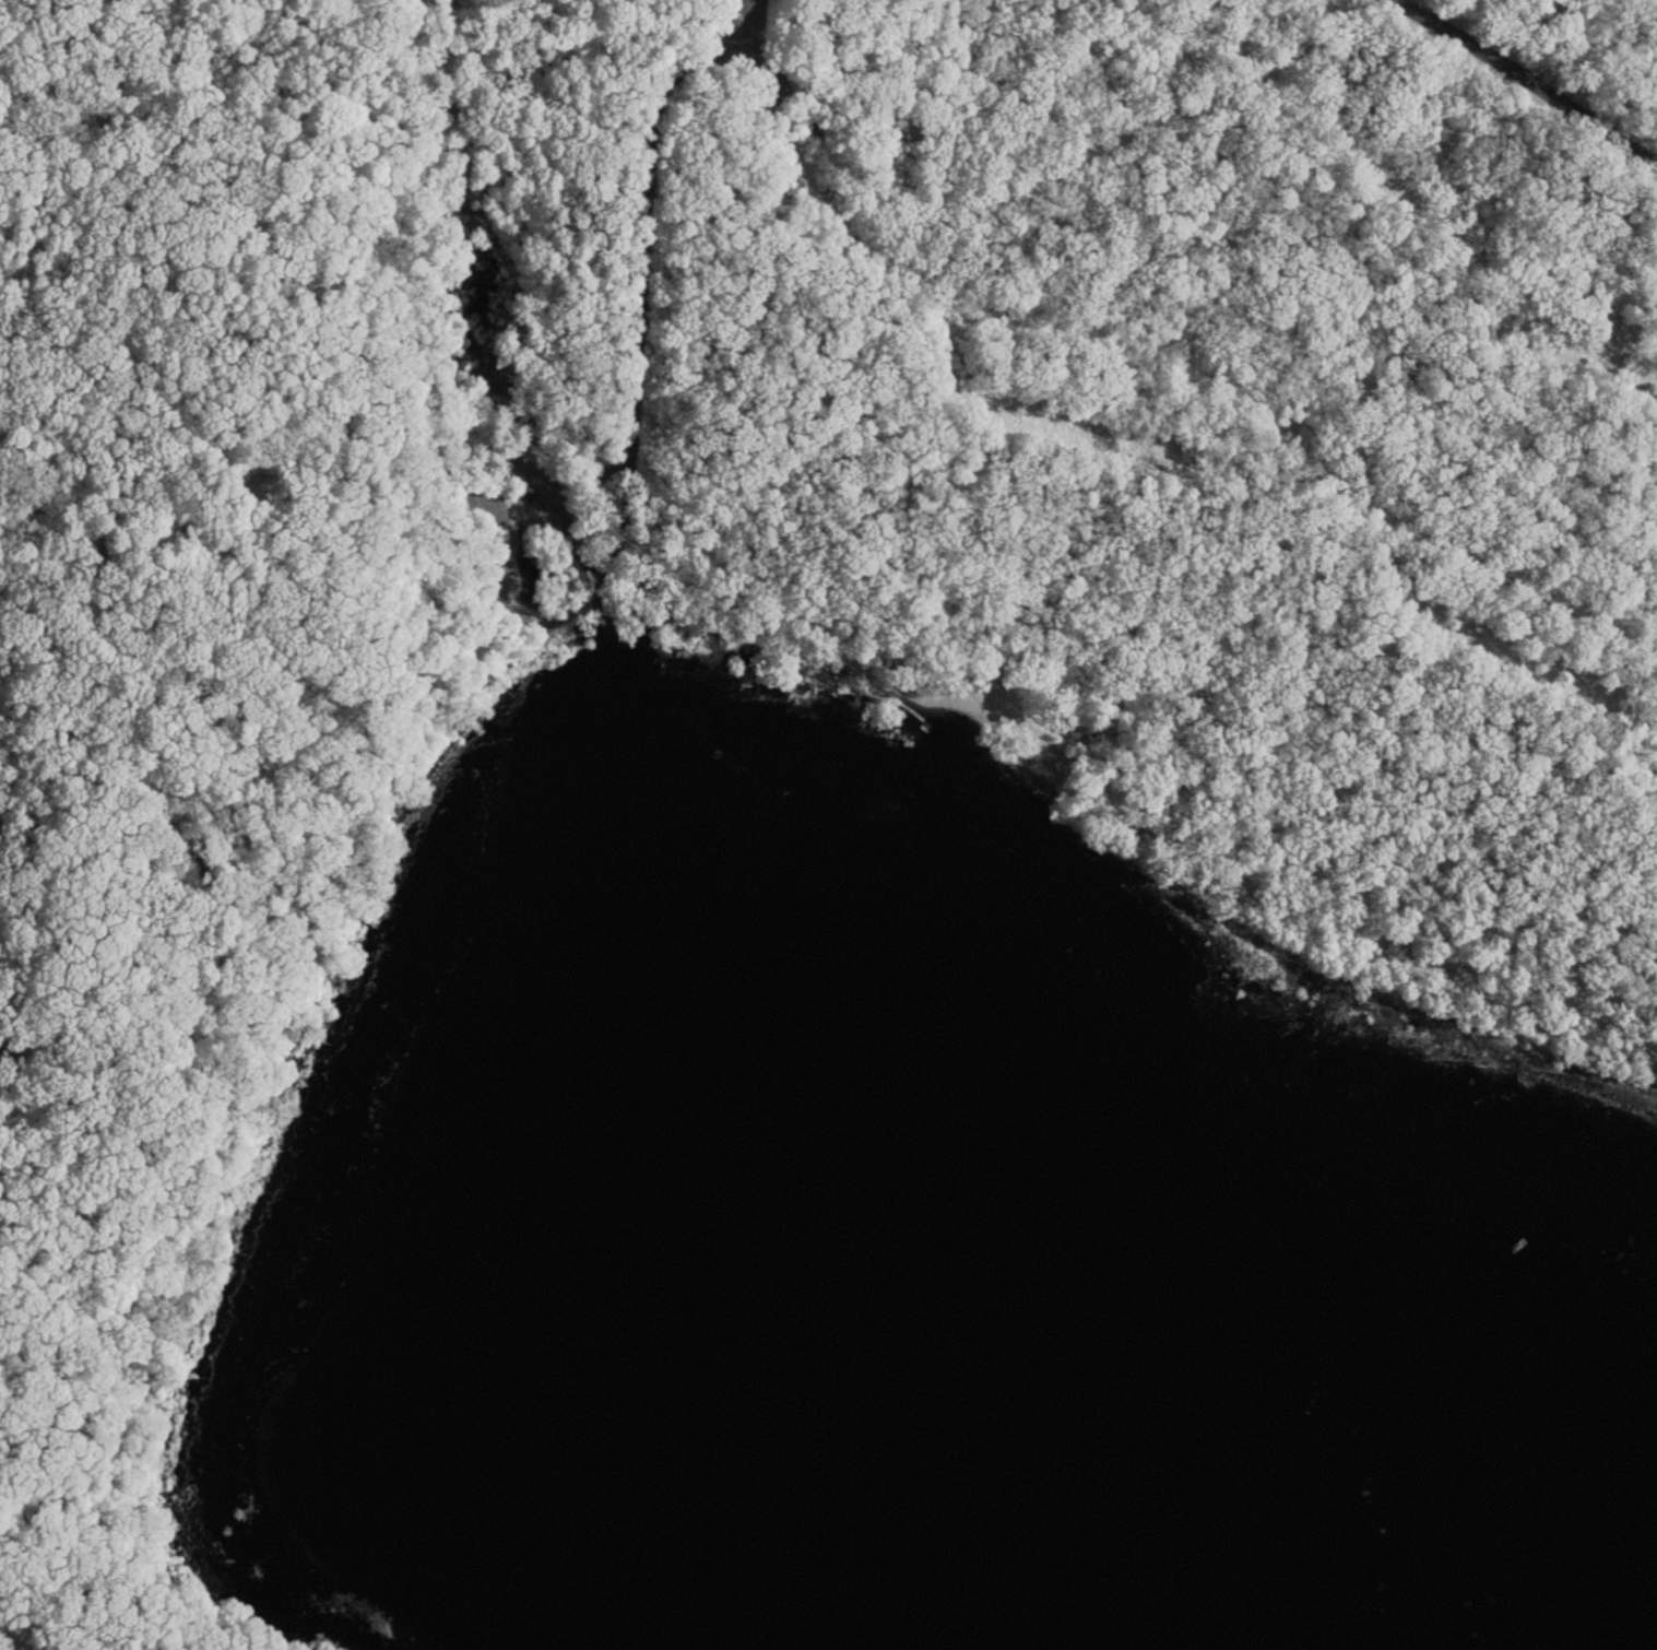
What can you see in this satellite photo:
road: (714, 13)
road: (1552, 63)
parking lot: (783, 140)
road: (248, 221)
road: (632, 280)
road: (1242, 350)
parking lot: (523, 515)
road: (591, 617)
road: (741, 647)
road: (1291, 731)

